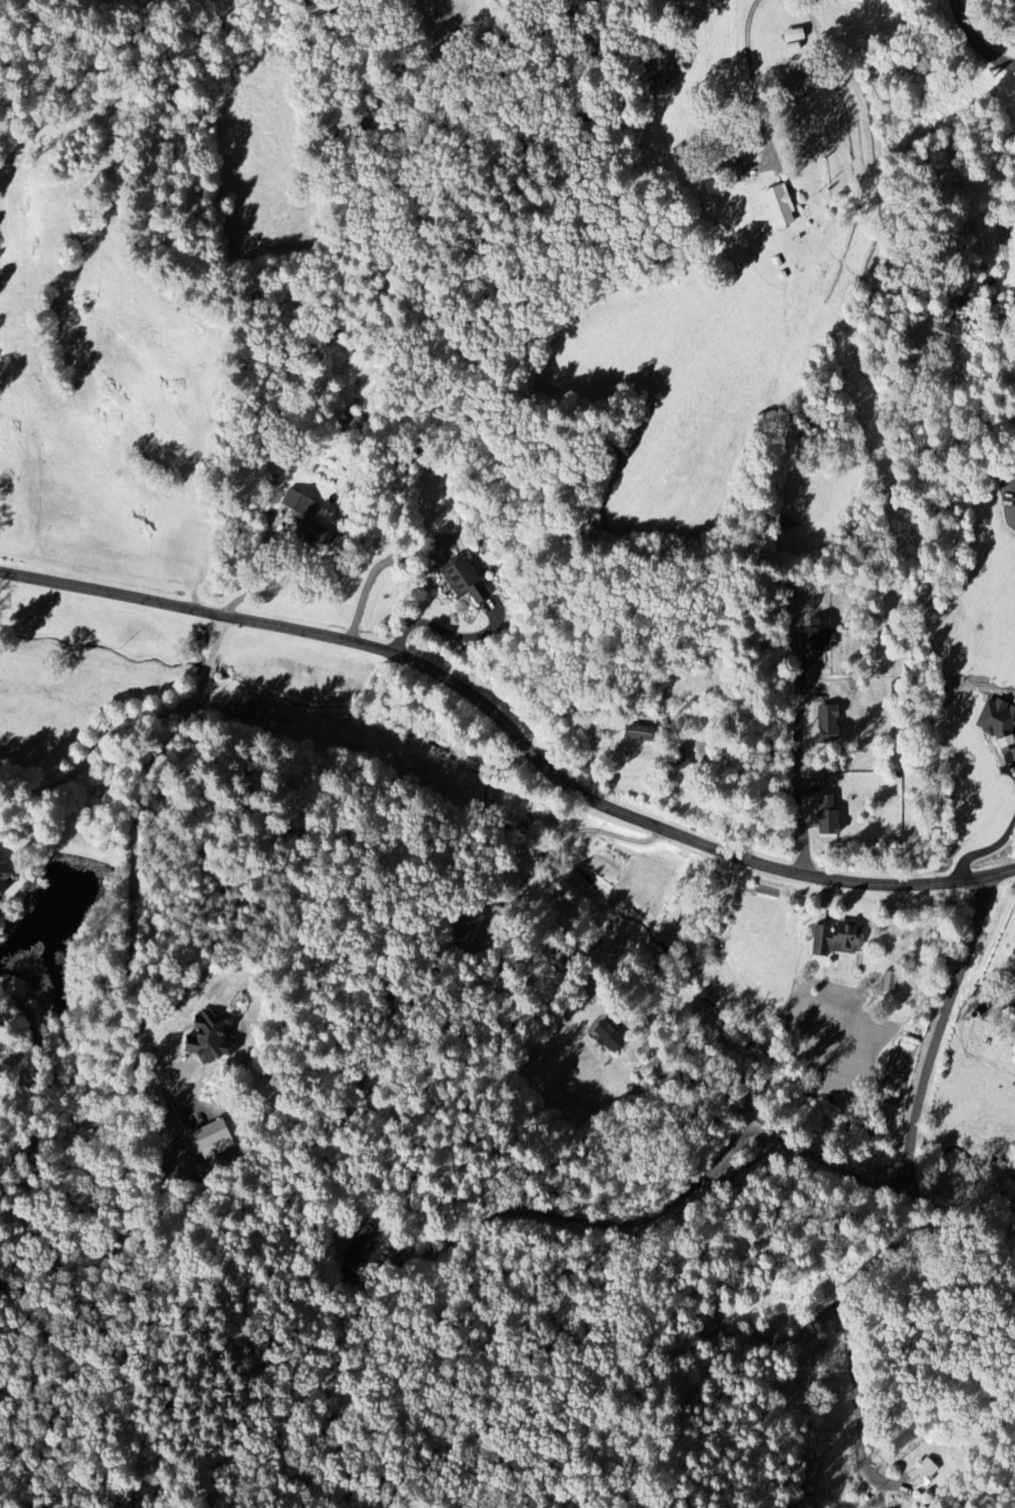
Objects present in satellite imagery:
road: (976, 43)
road: (733, 61)
building: (782, 206)
building: (308, 519)
road: (265, 577)
building: (466, 581)
road: (443, 629)
building: (1000, 721)
building: (830, 724)
road: (512, 732)
building: (639, 734)
road: (771, 748)
road: (90, 752)
road: (797, 774)
building: (830, 817)
road: (133, 834)
road: (564, 839)
road: (982, 850)
building: (5, 877)
building: (839, 938)
building: (890, 982)
building: (1014, 1005)
building: (214, 1038)
building: (608, 1038)
road: (714, 1093)
road: (917, 1117)
building: (215, 1139)
road: (661, 1214)
road: (856, 1393)
building: (926, 1470)

